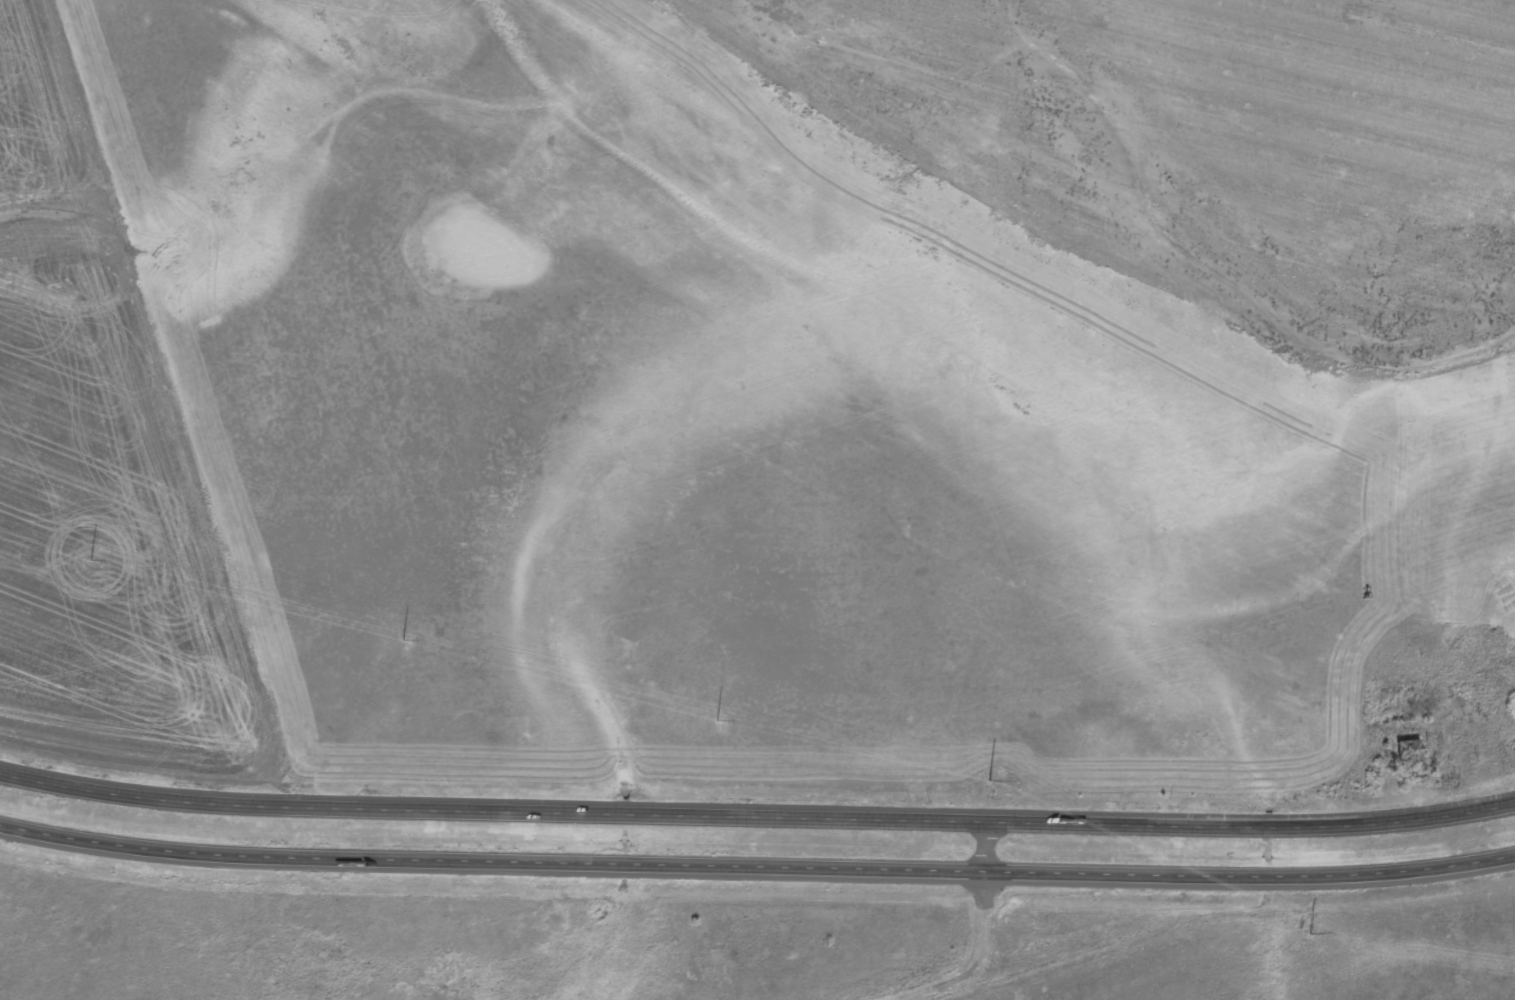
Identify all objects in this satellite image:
power tower: (93, 565)
power tower: (407, 645)
power tower: (721, 724)
building: (1410, 754)
power tower: (991, 795)
road: (757, 818)
road: (757, 874)
power tower: (1307, 923)
road: (979, 942)

